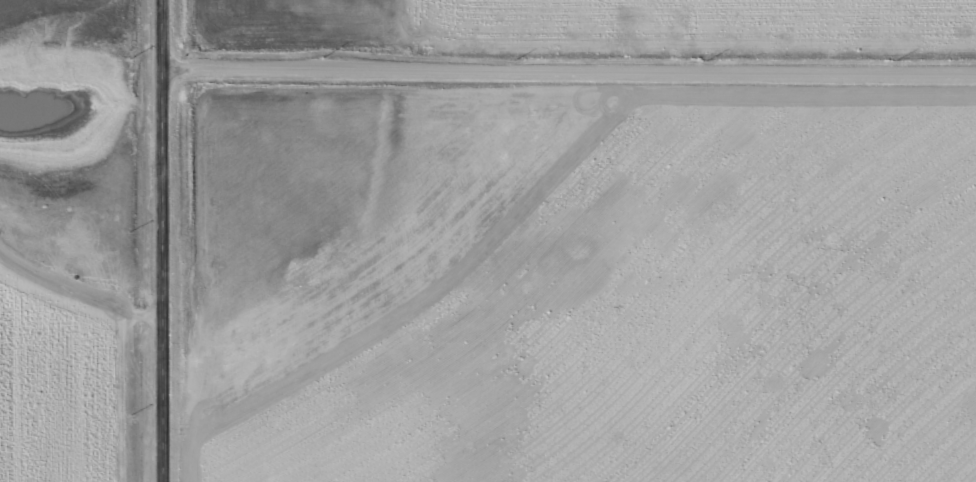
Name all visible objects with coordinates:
road: (571, 69)
road: (164, 240)
road: (75, 296)

